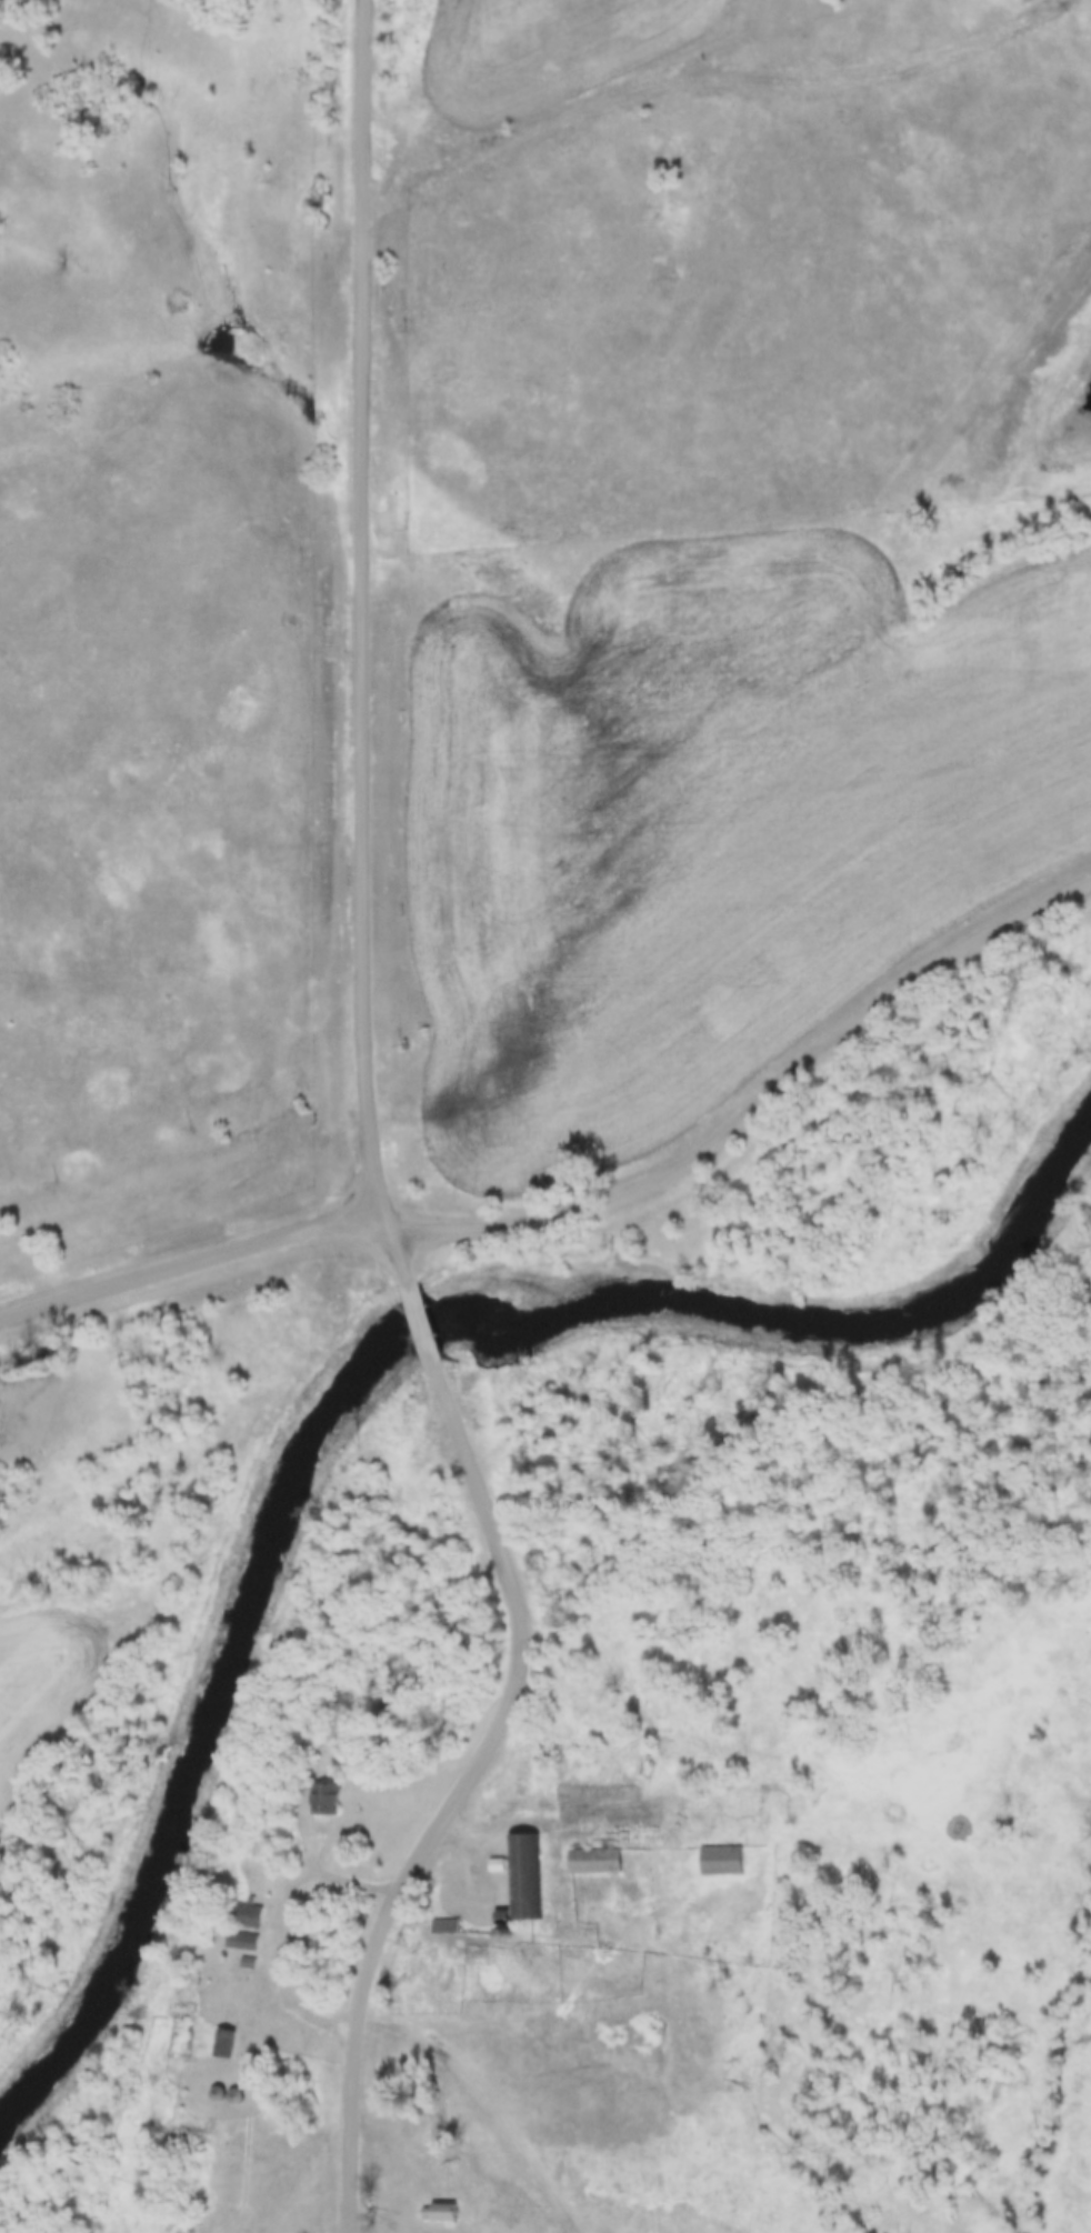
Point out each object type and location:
road: (703, 74)
road: (359, 647)
road: (758, 1099)
road: (194, 1259)
river: (640, 1301)
road: (419, 1325)
road: (452, 1795)
building: (332, 1798)
road: (575, 1823)
river: (147, 1855)
building: (590, 1861)
building: (718, 1861)
building: (519, 1876)
building: (257, 1915)
road: (278, 1924)
building: (440, 1926)
building: (249, 1940)
building: (679, 2002)
building: (229, 2043)
building: (229, 2095)
building: (444, 2212)

